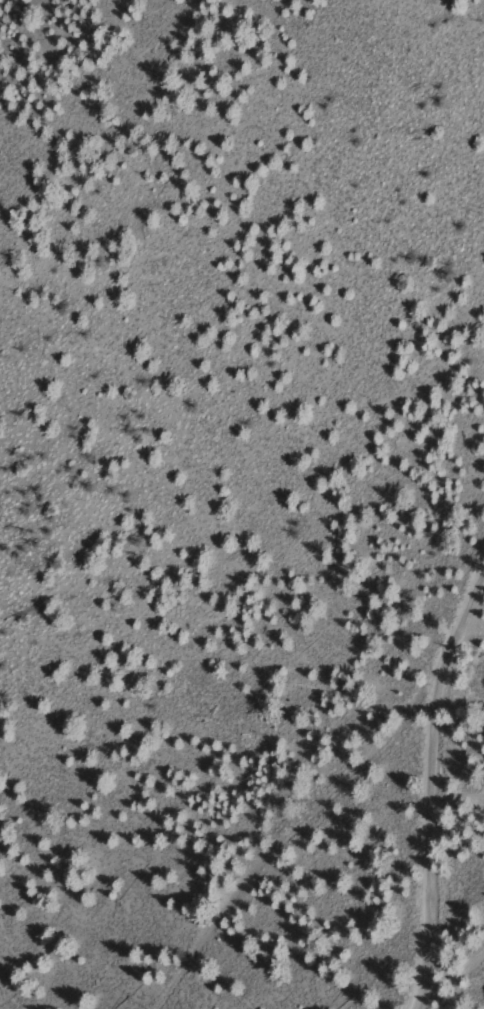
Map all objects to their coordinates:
road: (437, 786)
road: (454, 955)

